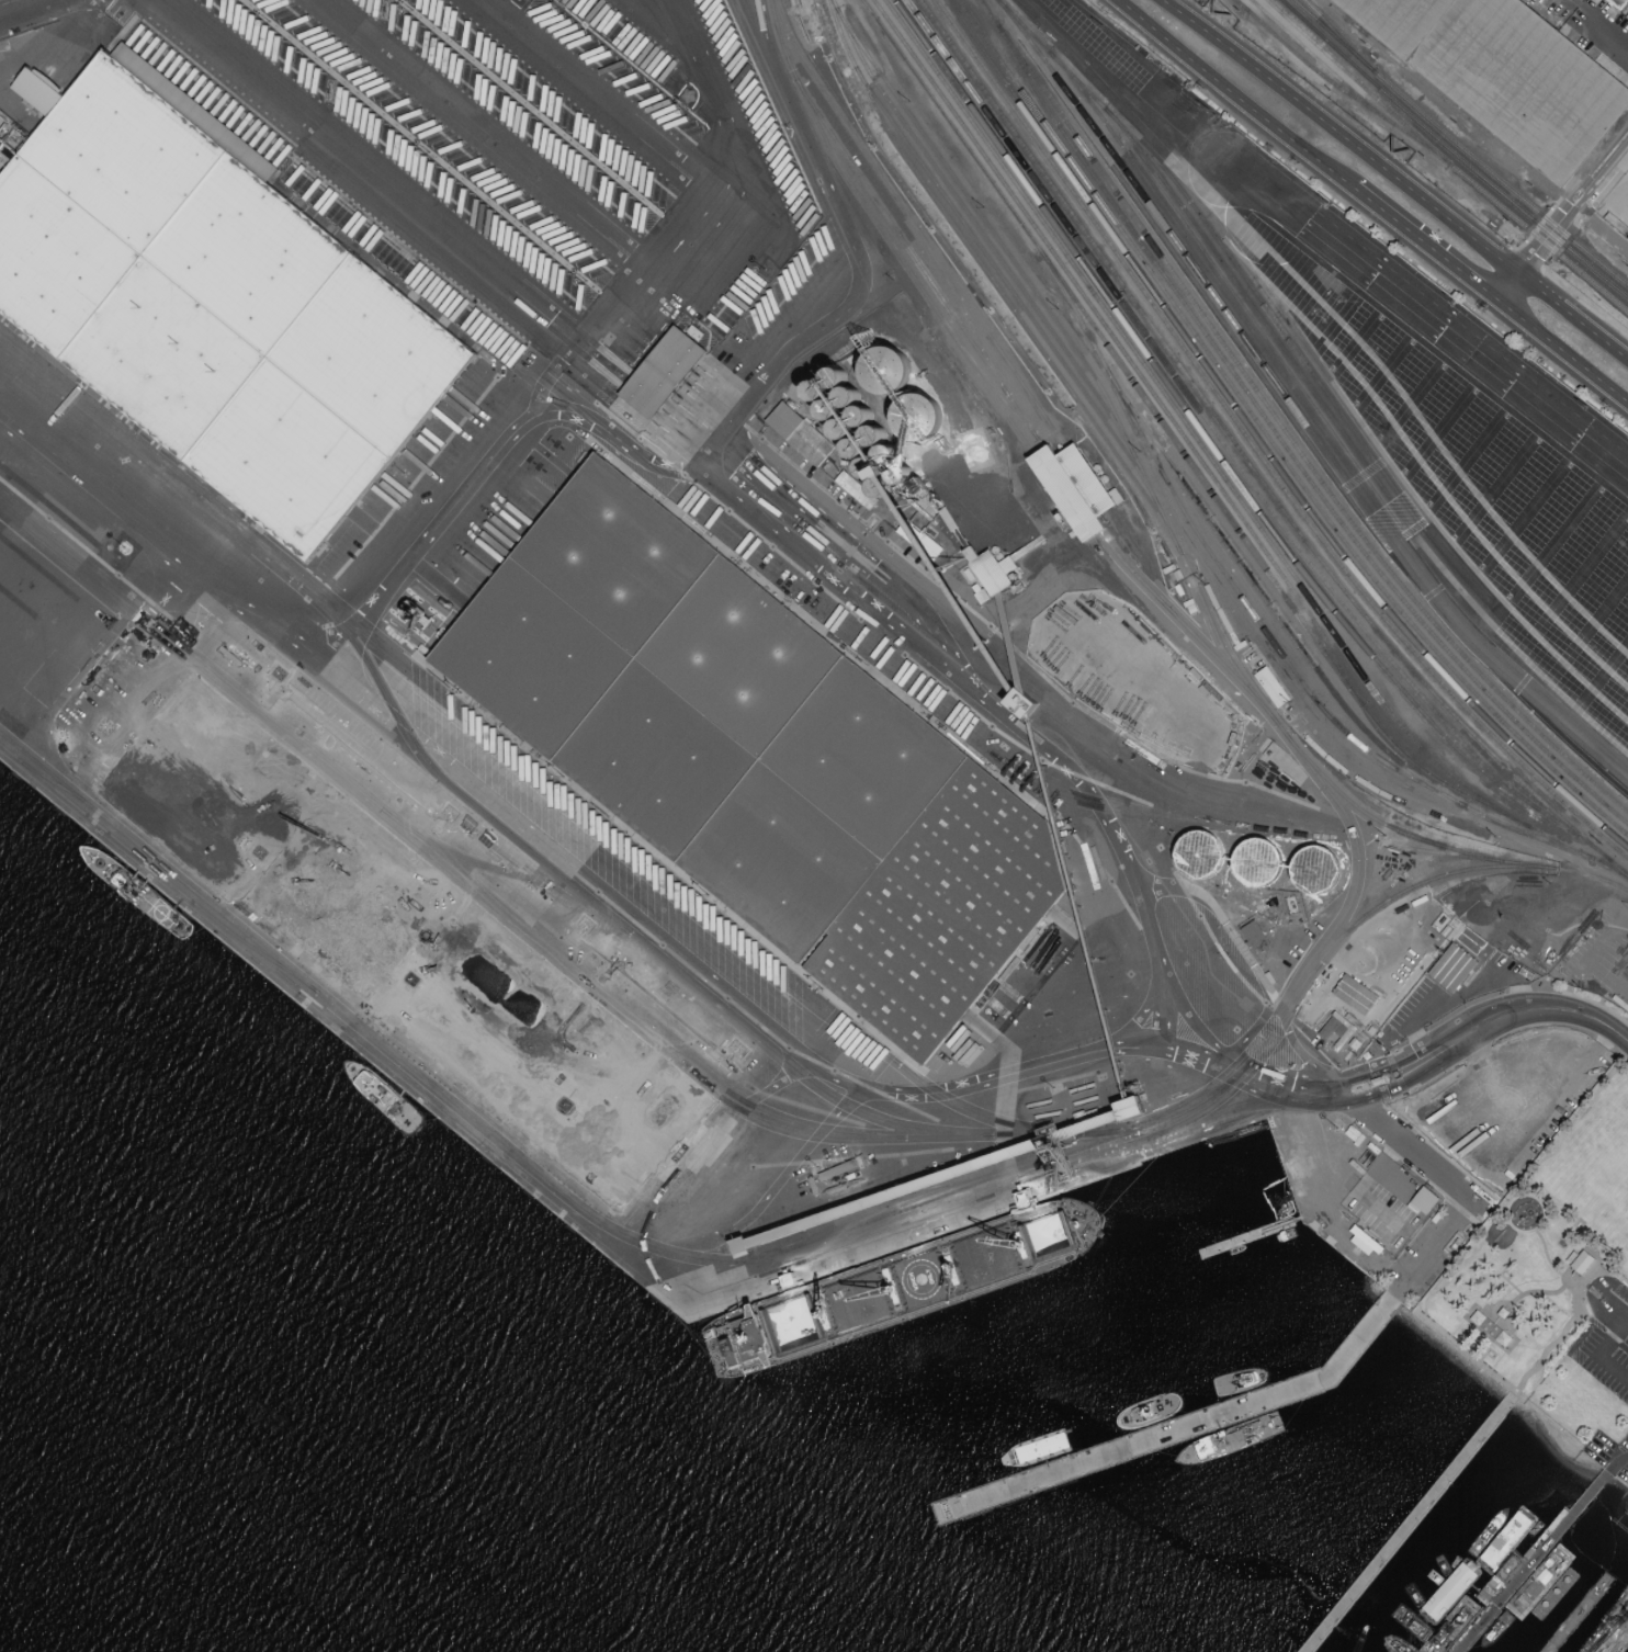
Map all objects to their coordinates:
building: (1621, 3)
road: (1573, 4)
railway: (1241, 5)
road: (36, 12)
building: (1627, 14)
road: (1604, 30)
railway: (1337, 35)
railway: (1316, 60)
road: (564, 67)
building: (1505, 73)
railway: (1337, 86)
road: (1233, 93)
railway: (1443, 97)
railway: (1405, 101)
railway: (1397, 105)
railway: (1465, 138)
railway: (1444, 159)
road: (1394, 179)
railway: (892, 188)
railway: (973, 222)
road: (1562, 223)
railway: (879, 225)
road: (1603, 226)
railway: (1574, 244)
road: (1424, 245)
railway: (1223, 247)
railway: (1572, 253)
railway: (1003, 279)
railway: (994, 283)
building: (214, 307)
railway: (1266, 320)
railway: (1113, 353)
railway: (1440, 353)
road: (1562, 353)
railway: (1350, 369)
building: (663, 372)
building: (884, 372)
silo: (884, 372)
building: (834, 377)
silo: (834, 377)
building: (814, 391)
silo: (814, 391)
road: (554, 394)
building: (847, 396)
silo: (847, 396)
railway: (1295, 407)
building: (828, 410)
silo: (828, 410)
railway: (1024, 415)
building: (860, 416)
silo: (860, 416)
road: (750, 417)
railway: (1207, 418)
building: (916, 419)
silo: (916, 419)
railway: (1280, 423)
building: (840, 429)
silo: (840, 429)
railway: (1323, 430)
railway: (1190, 431)
building: (805, 432)
building: (873, 435)
silo: (873, 435)
railway: (1269, 439)
railway: (1514, 441)
railway: (1285, 444)
railway: (1263, 445)
building: (855, 449)
silo: (855, 449)
railway: (1256, 450)
railway: (1545, 452)
building: (888, 453)
silo: (888, 453)
railway: (1222, 457)
railway: (1483, 460)
railway: (1247, 461)
building: (868, 467)
silo: (868, 467)
building: (901, 473)
silo: (901, 473)
road: (705, 475)
railway: (1214, 480)
building: (881, 487)
silo: (881, 487)
building: (1070, 493)
railway: (1533, 499)
railway: (1565, 513)
railway: (1164, 519)
railway: (252, 540)
road: (755, 540)
railway: (1557, 541)
building: (995, 565)
railway: (1540, 586)
building: (22, 589)
railway: (1268, 597)
railway: (1253, 610)
railway: (333, 612)
railway: (331, 613)
railway: (1550, 622)
road: (246, 652)
railway: (1571, 675)
road: (140, 676)
building: (1019, 702)
railway: (519, 751)
building: (765, 760)
railway: (54, 780)
railway: (1442, 846)
building: (1199, 855)
storage tank: (1199, 855)
railway: (1444, 855)
building: (1257, 862)
storage tank: (1257, 862)
railway: (471, 863)
building: (1318, 869)
storage tank: (1318, 869)
railway: (160, 874)
road: (567, 884)
building: (407, 946)
railway: (257, 947)
building: (1354, 994)
railway: (633, 1015)
road: (1499, 1019)
building: (1336, 1029)
road: (422, 1077)
road: (1355, 1090)
railway: (720, 1095)
building: (1141, 1106)
park: (1598, 1169)
building: (1413, 1184)
road: (1456, 1187)
road: (1358, 1189)
road: (1531, 1197)
building: (1423, 1200)
building: (1413, 1209)
parking lot: (1381, 1212)
road: (1281, 1223)
railway: (623, 1234)
pier: (1244, 1238)
building: (1365, 1240)
building: (1581, 1263)
road: (1556, 1271)
road: (1591, 1274)
park: (1553, 1275)
road: (1539, 1291)
road: (1613, 1308)
building: (1502, 1313)
building: (1476, 1319)
road: (1506, 1329)
parking lot: (1606, 1336)
building: (1502, 1339)
road: (1553, 1344)
road: (1477, 1345)
road: (1601, 1353)
road: (1468, 1354)
pier: (1173, 1426)
parking lot: (1608, 1456)
road: (1616, 1462)
pier: (1409, 1523)
pier: (1534, 1562)
building: (1552, 1573)
building: (1452, 1589)
pier: (1589, 1605)
building: (1467, 1609)

